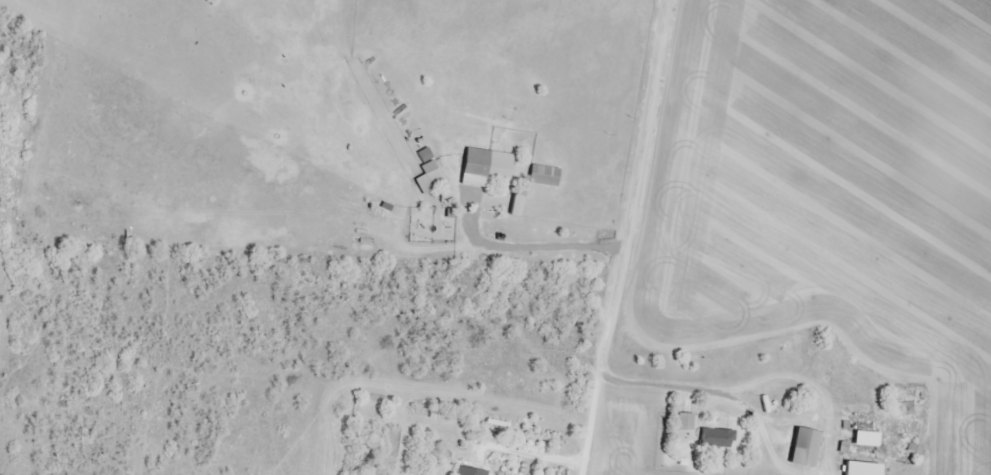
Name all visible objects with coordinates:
building: (486, 168)
building: (544, 176)
building: (430, 178)
road: (606, 237)
building: (686, 422)
building: (716, 438)
building: (866, 439)
building: (804, 448)
building: (471, 471)

